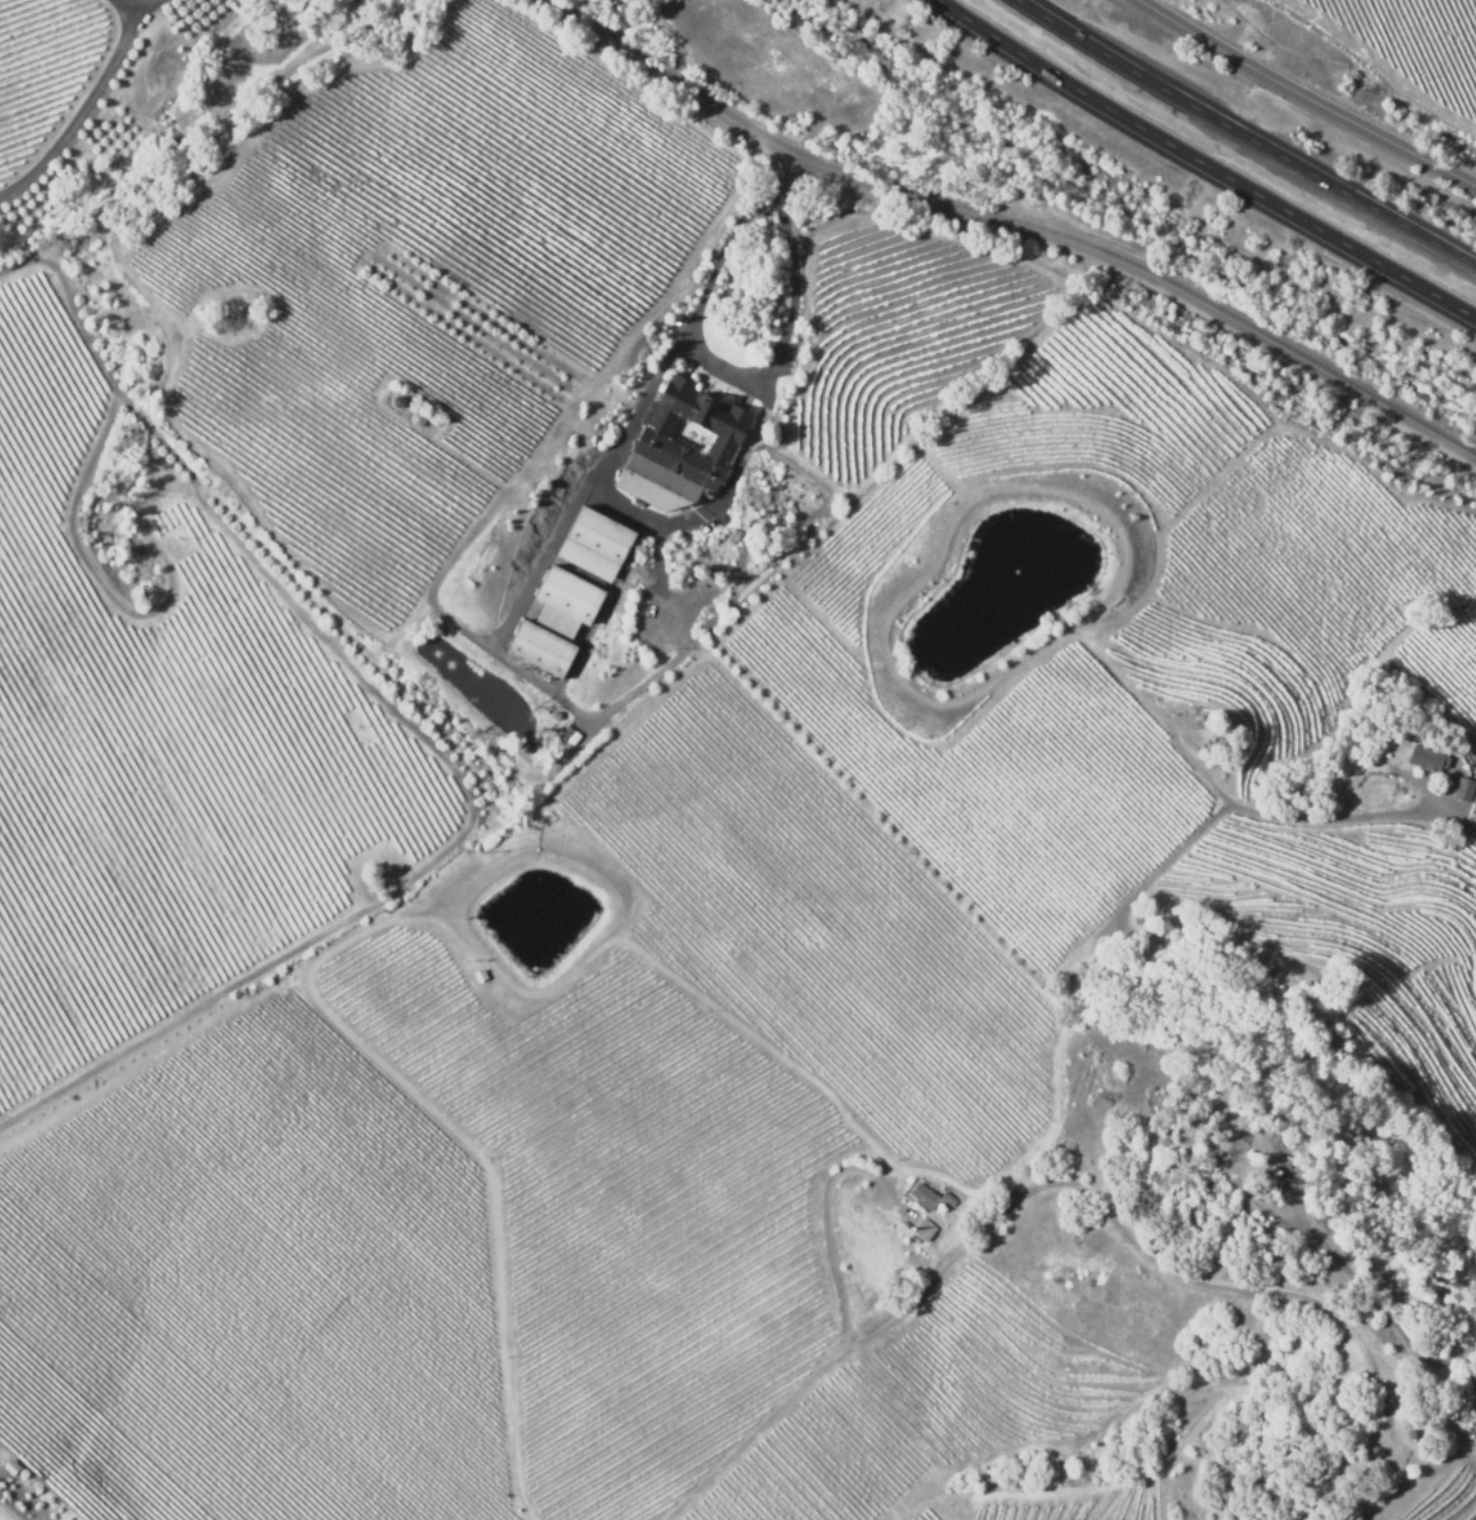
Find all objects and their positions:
road: (139, 13)
road: (1306, 97)
road: (75, 108)
road: (1244, 136)
road: (1200, 164)
road: (1014, 224)
building: (434, 297)
building: (395, 401)
building: (416, 418)
building: (681, 448)
building: (595, 543)
building: (555, 619)
building: (555, 714)
building: (566, 731)
building: (573, 737)
building: (1381, 741)
building: (1426, 748)
building: (1461, 790)
building: (478, 976)
building: (1276, 1172)
building: (924, 1196)
building: (949, 1199)
building: (1268, 1199)
building: (925, 1230)
building: (1406, 1422)
building: (1409, 1432)
building: (10, 1466)

